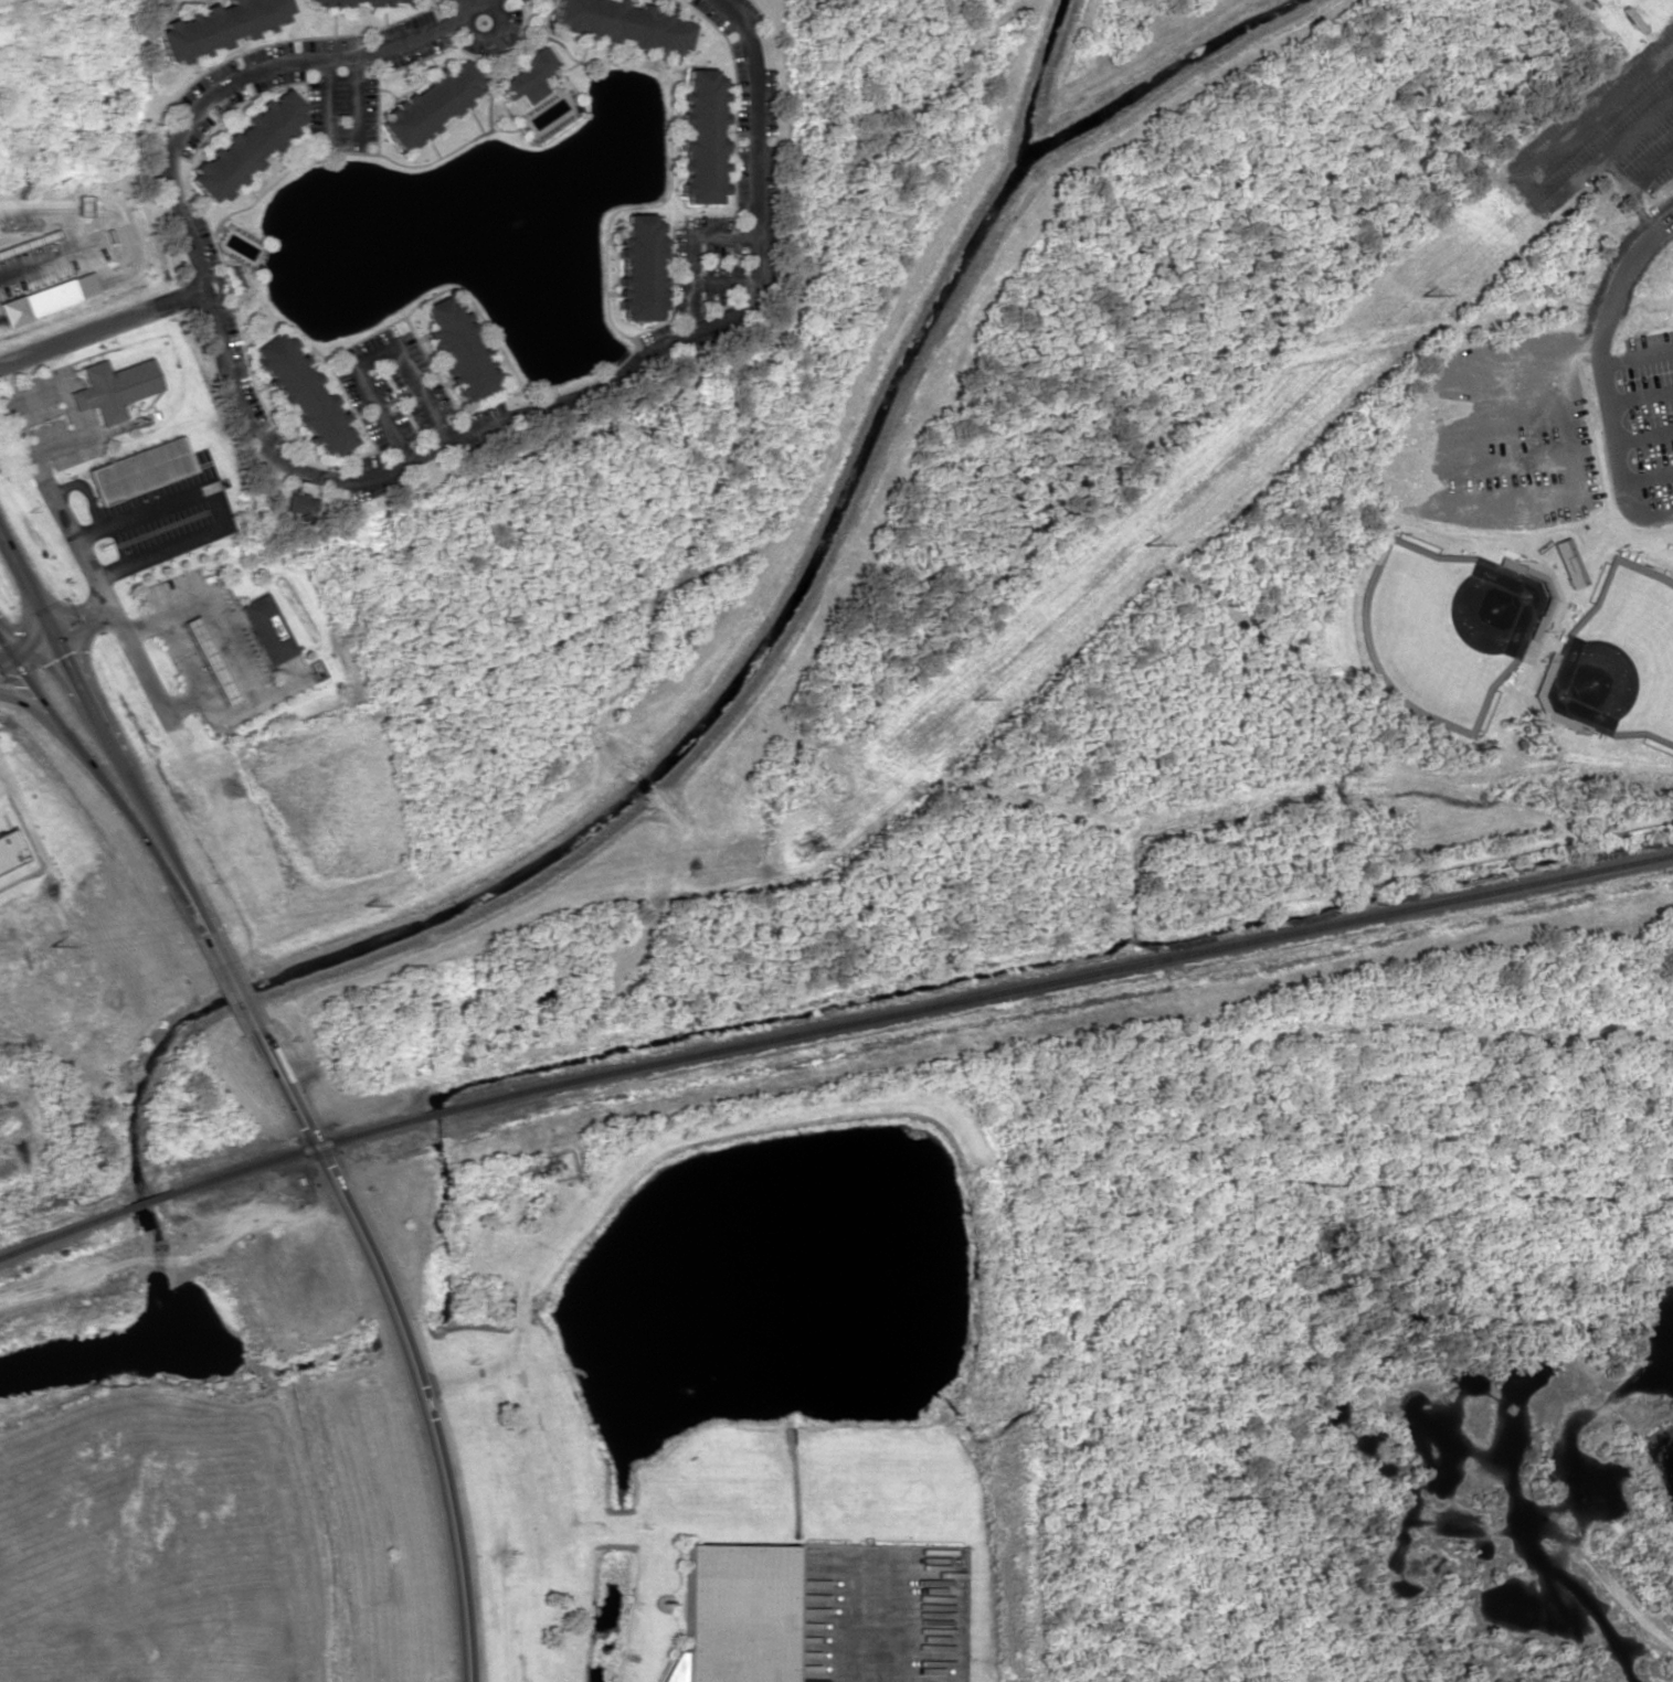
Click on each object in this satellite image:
building: (307, 0)
building: (398, 0)
building: (320, 2)
building: (332, 2)
building: (343, 2)
building: (371, 2)
building: (383, 2)
road: (463, 3)
building: (622, 23)
building: (216, 25)
building: (528, 74)
building: (428, 105)
parking lot: (1606, 132)
building: (699, 137)
building: (244, 145)
road: (687, 258)
building: (637, 268)
power tower: (1423, 294)
building: (45, 297)
road: (98, 328)
building: (458, 349)
road: (369, 356)
building: (114, 387)
building: (300, 393)
parking lot: (1637, 423)
building: (139, 469)
road: (336, 477)
building: (299, 504)
power tower: (1143, 544)
building: (1569, 562)
road: (24, 583)
road: (80, 613)
park: (1446, 627)
building: (265, 628)
traffic signals: (29, 643)
road: (24, 645)
park: (1619, 657)
building: (209, 659)
power tower: (972, 700)
road: (131, 780)
road: (105, 786)
power tower: (801, 850)
building: (10, 852)
power tower: (364, 906)
power tower: (49, 946)
railway: (1066, 979)
road: (233, 981)
railway: (438, 1111)
railway: (294, 1151)
railway: (147, 1200)
railway: (61, 1233)
road: (405, 1342)
river: (97, 1345)
building: (733, 1615)

